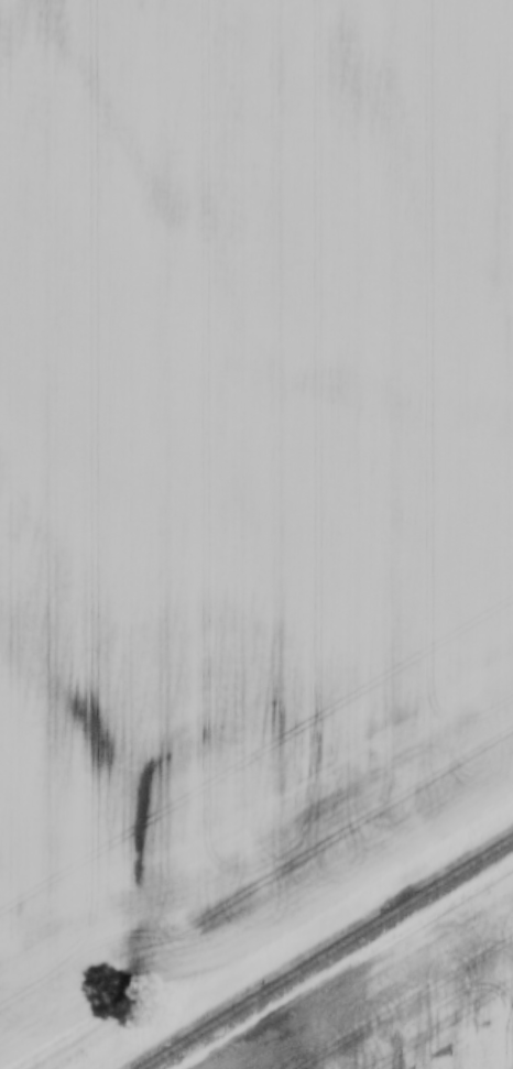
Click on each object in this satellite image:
railway: (328, 955)

